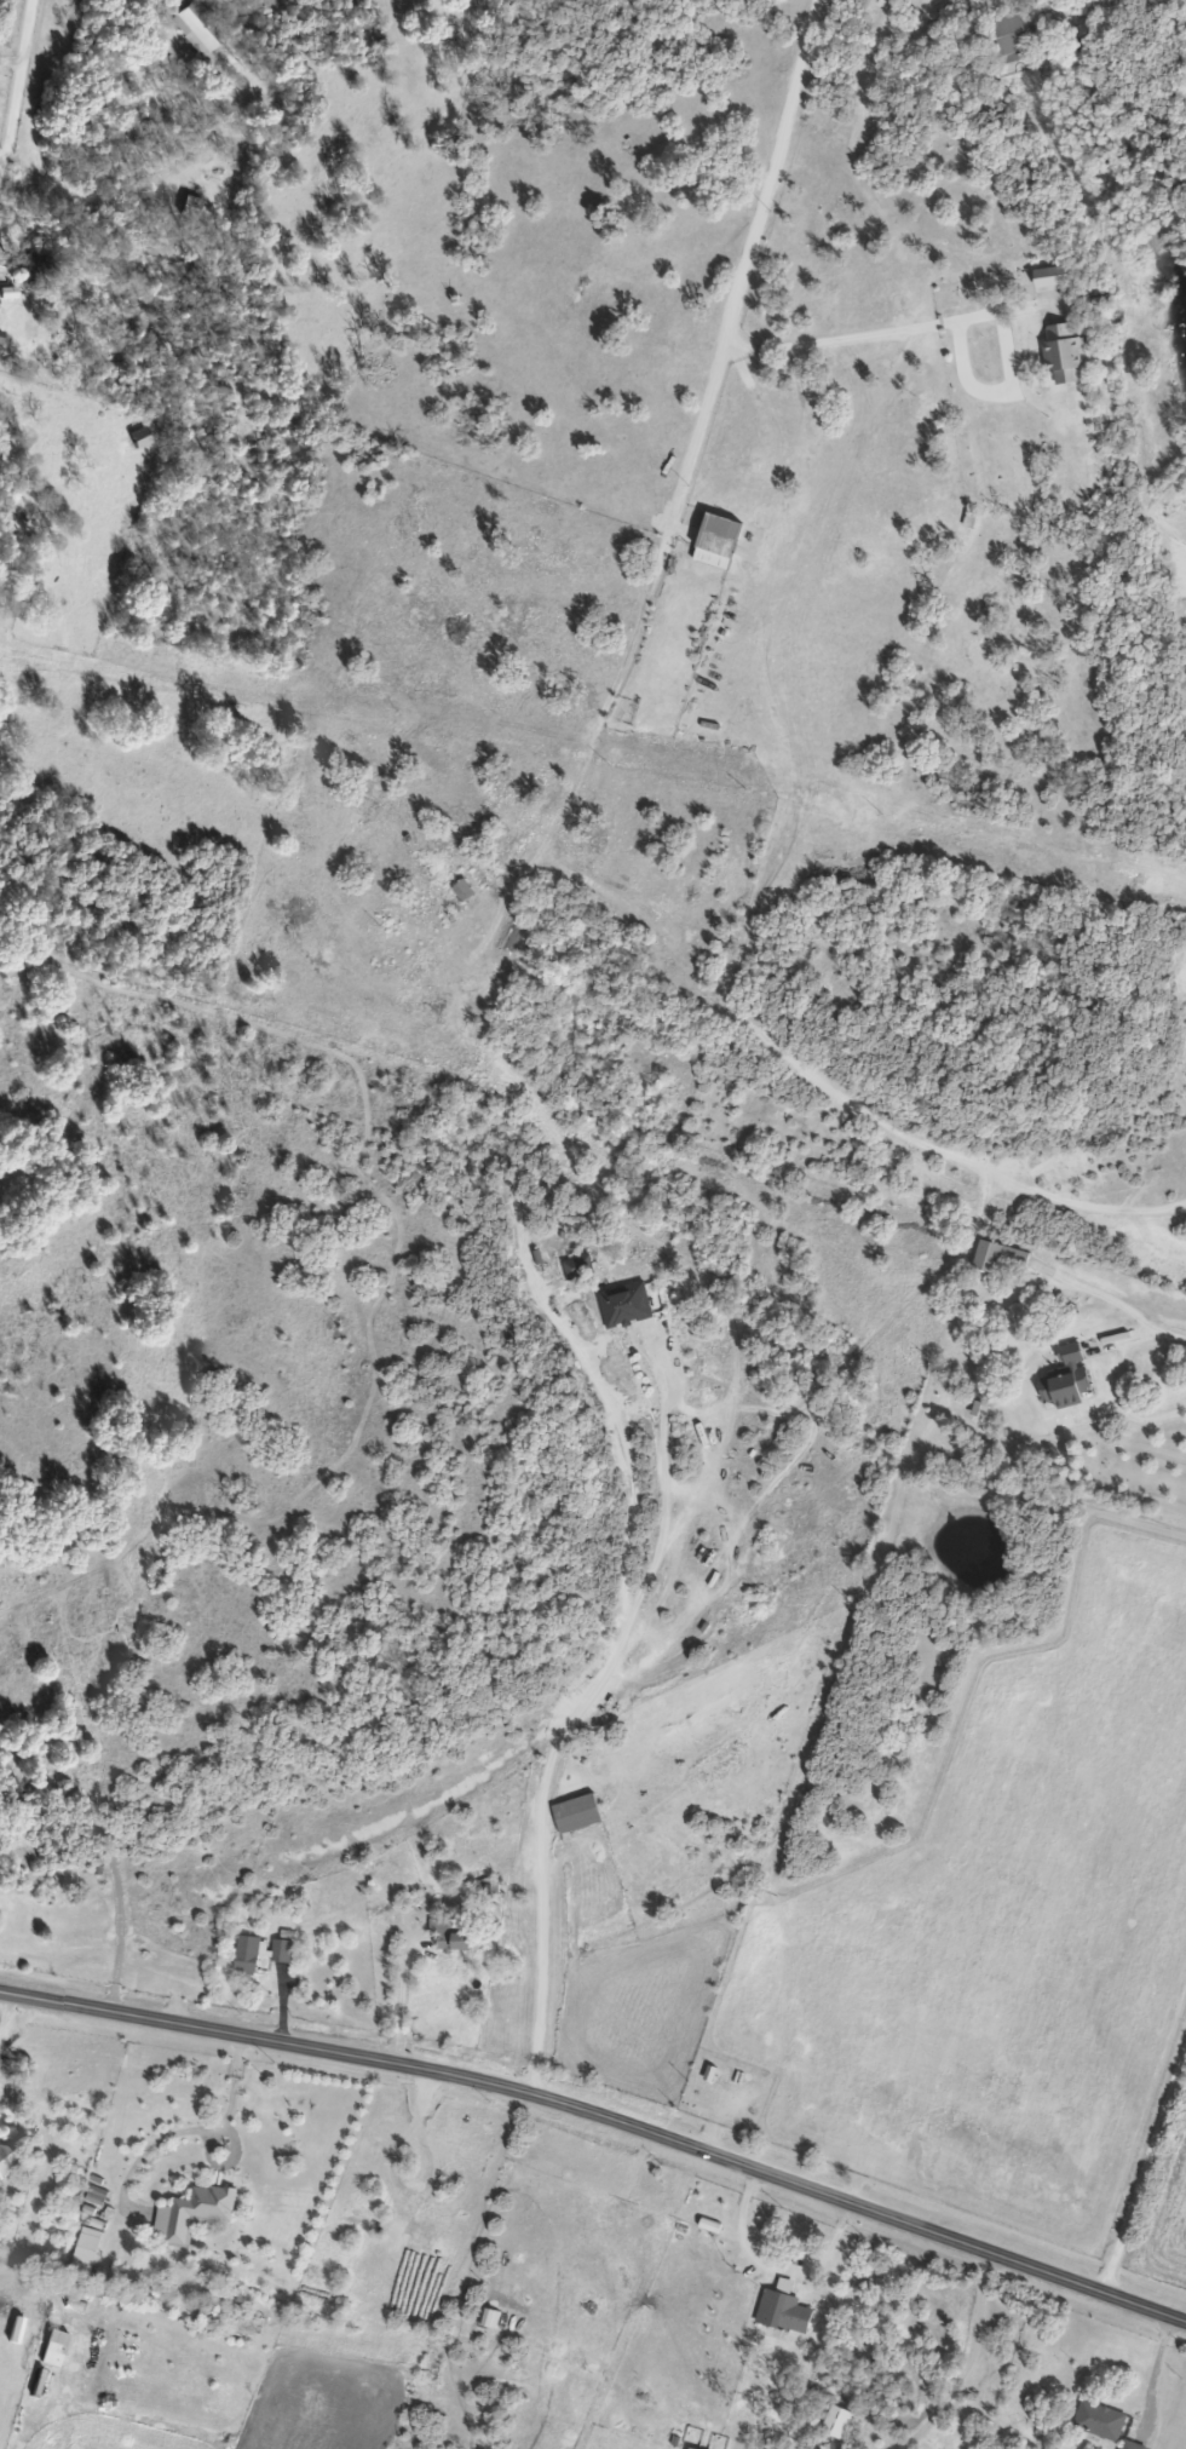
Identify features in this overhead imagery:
building: (202, 30)
building: (1014, 40)
road: (12, 59)
road: (21, 88)
road: (2, 156)
building: (194, 207)
building: (38, 264)
road: (733, 278)
building: (1067, 358)
road: (1001, 383)
road: (693, 430)
building: (144, 437)
building: (722, 542)
building: (468, 891)
building: (1003, 1257)
building: (578, 1269)
building: (1071, 1378)
road: (1117, 1378)
road: (565, 1727)
building: (582, 1815)
building: (456, 1935)
building: (286, 1951)
building: (252, 1956)
road: (396, 1995)
road: (4, 2008)
road: (224, 2110)
road: (603, 2115)
building: (6, 2166)
road: (1145, 2171)
building: (198, 2213)
building: (88, 2252)
road: (768, 2271)
building: (793, 2313)
building: (493, 2318)
road: (966, 2362)
road: (1148, 2369)
building: (1105, 2422)
building: (842, 2424)
building: (1135, 2447)
building: (696, 2448)

